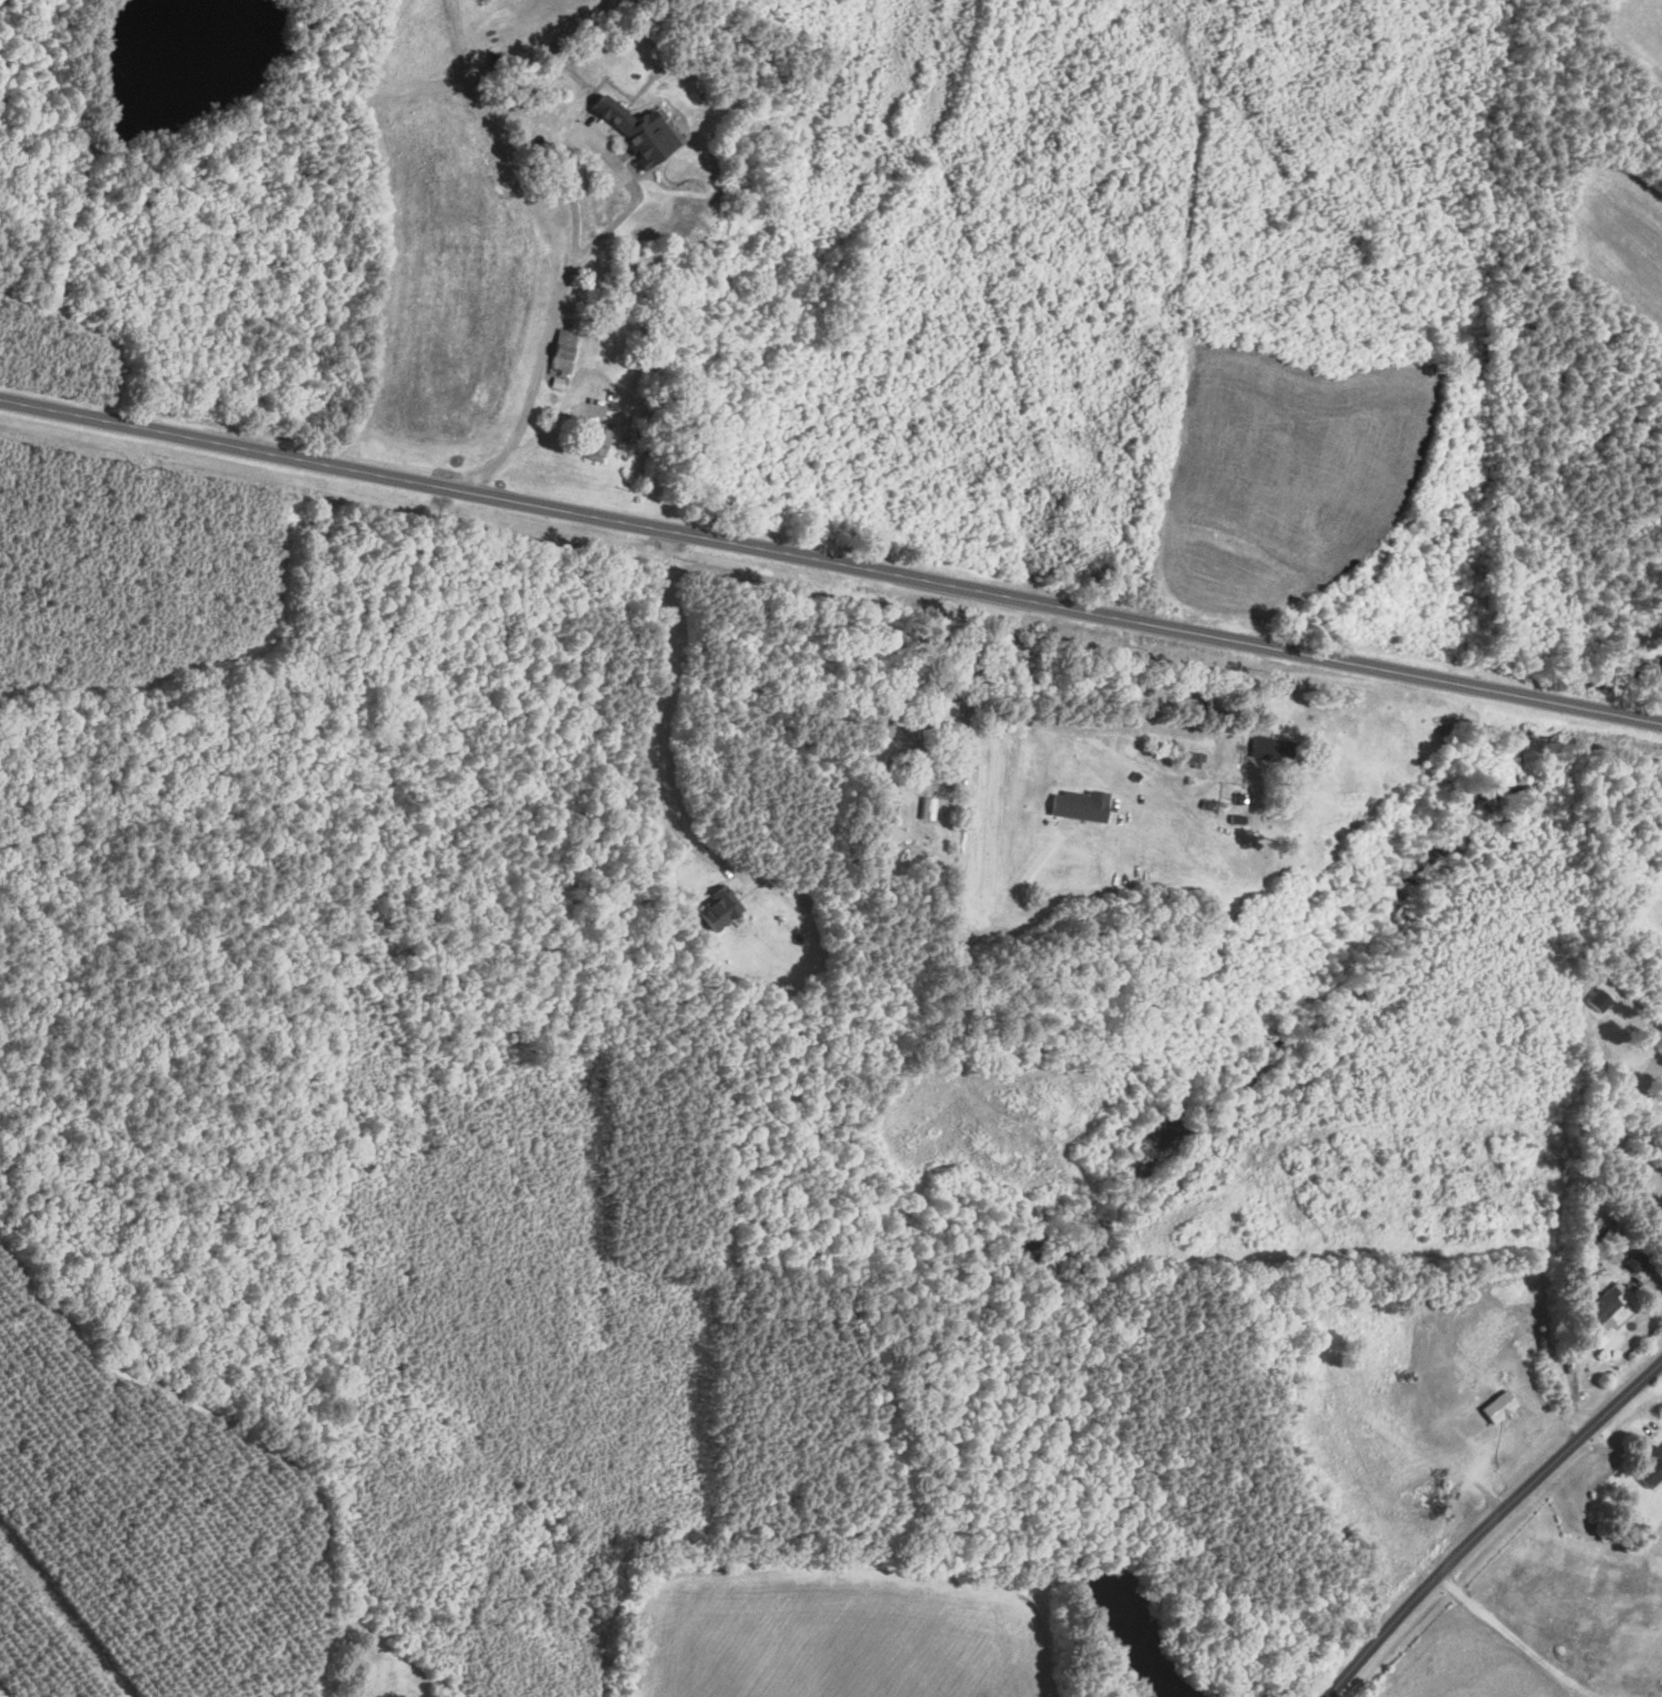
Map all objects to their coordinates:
building: (643, 131)
road: (570, 231)
building: (563, 353)
road: (830, 564)
road: (962, 657)
building: (938, 716)
road: (1029, 717)
road: (659, 722)
building: (1263, 749)
building: (1076, 806)
building: (924, 809)
building: (715, 909)
building: (1596, 1001)
building: (1604, 1305)
road: (1579, 1314)
building: (1596, 1340)
building: (1649, 1468)
road: (1488, 1523)
road: (1507, 1634)

